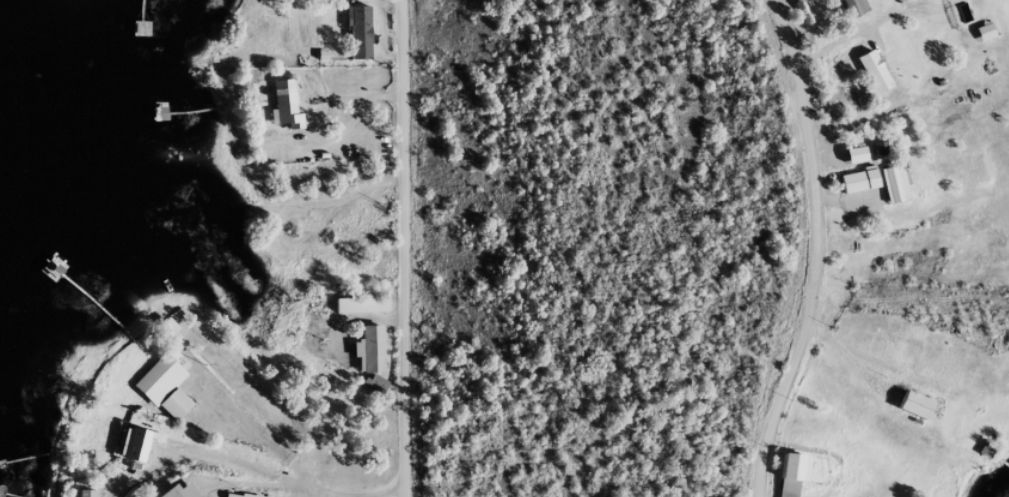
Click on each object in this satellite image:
building: (849, 11)
building: (980, 39)
building: (354, 40)
building: (870, 79)
building: (282, 112)
building: (873, 155)
building: (848, 162)
building: (854, 187)
building: (889, 191)
road: (404, 248)
road: (818, 250)
building: (358, 313)
building: (366, 357)
building: (376, 390)
building: (162, 395)
building: (909, 413)
building: (133, 453)
building: (787, 478)
road: (399, 492)
building: (178, 493)

